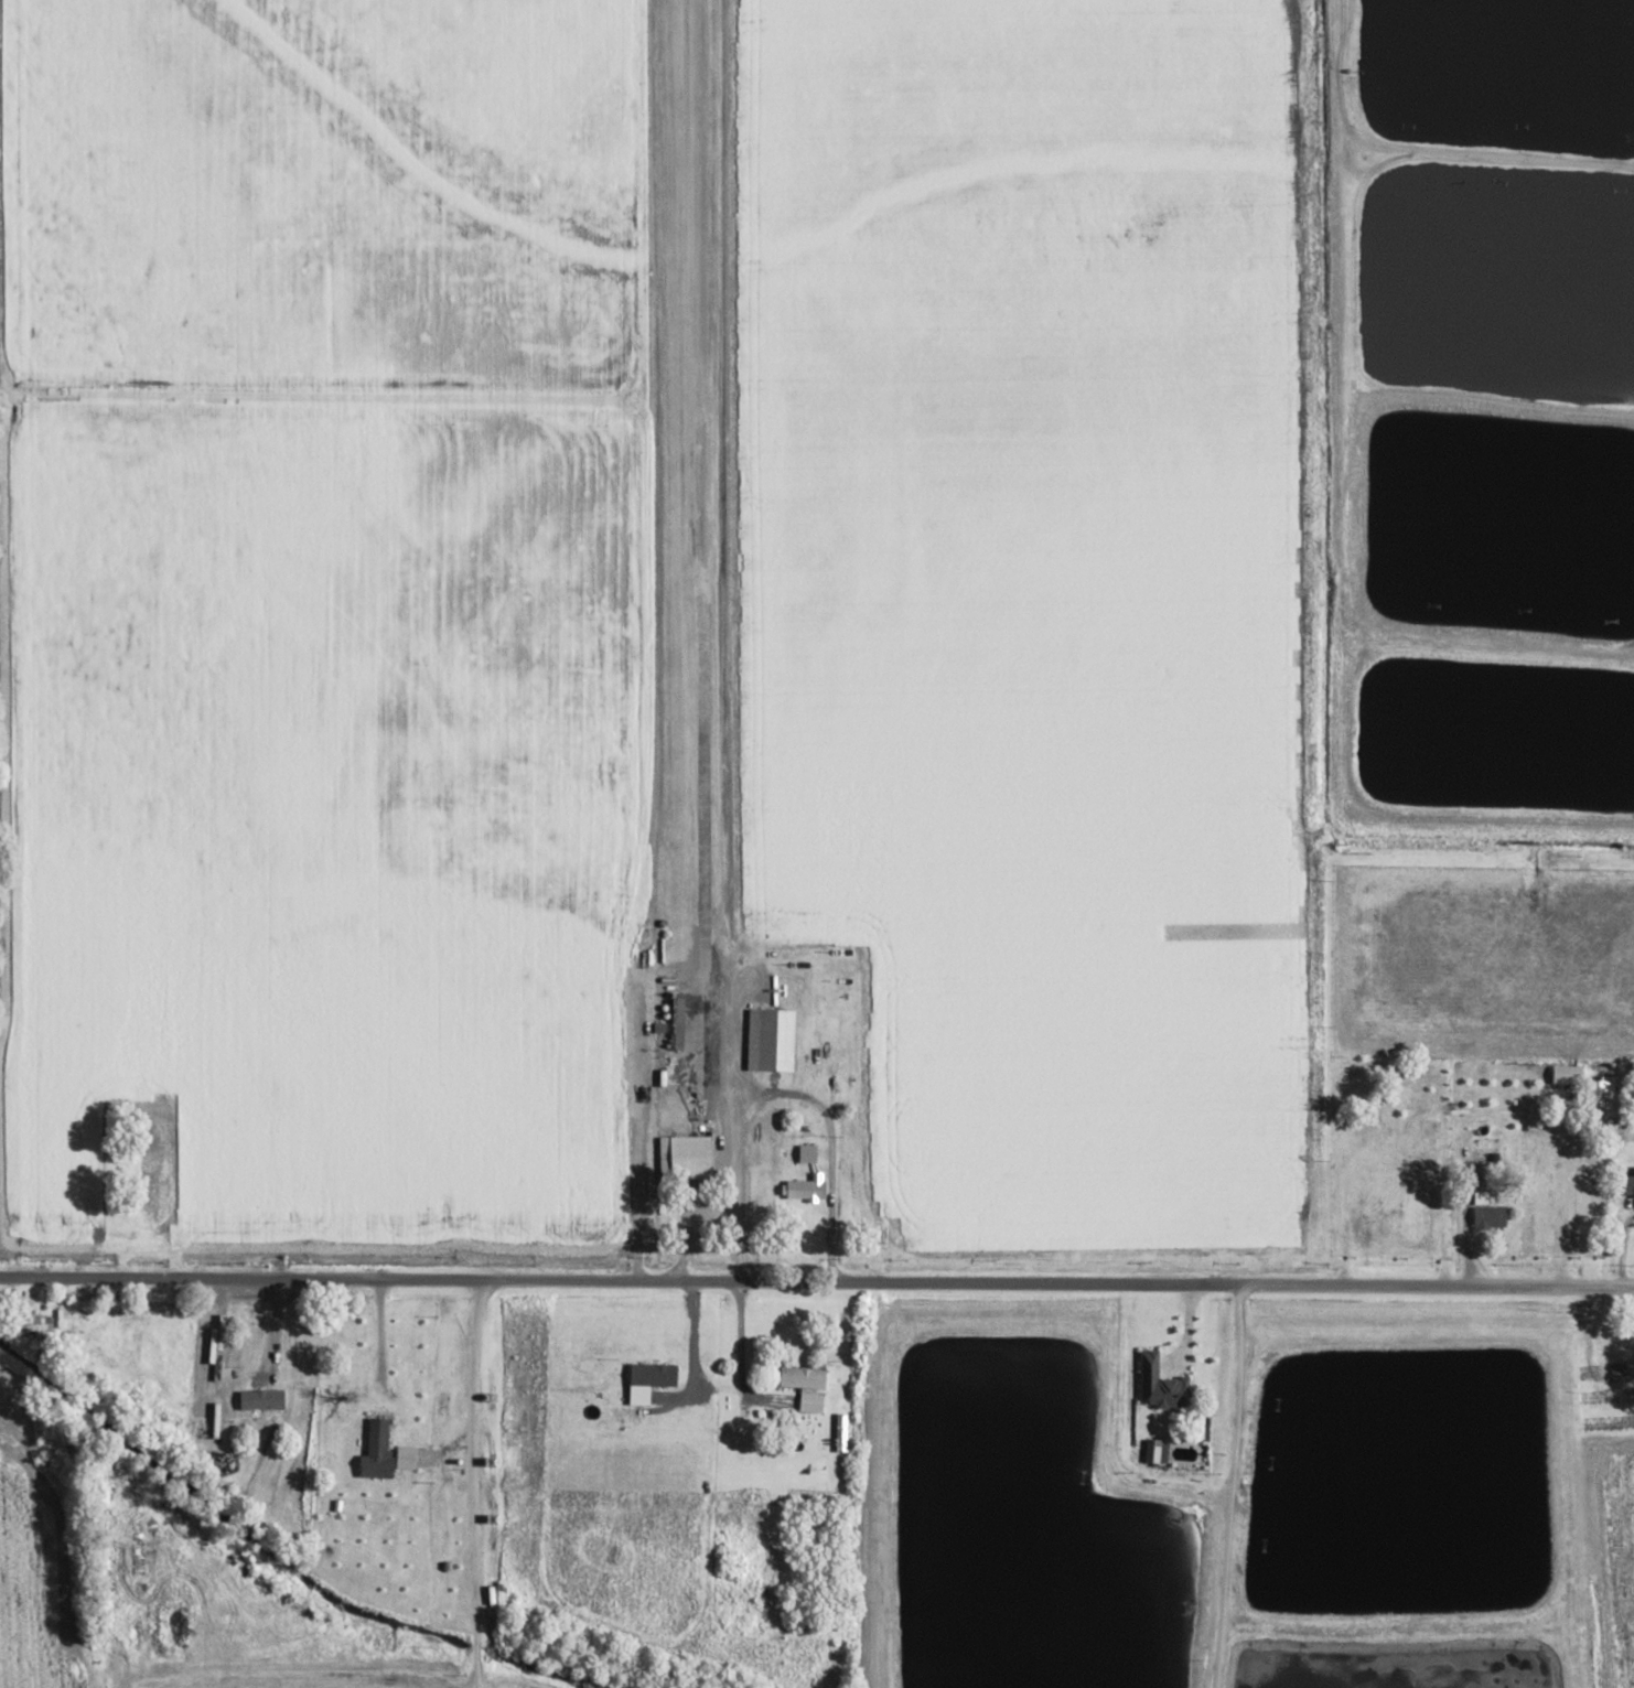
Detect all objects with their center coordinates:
road: (697, 648)
building: (771, 1039)
building: (1567, 1074)
building: (1600, 1089)
building: (807, 1152)
building: (685, 1157)
building: (1628, 1184)
building: (805, 1187)
building: (1481, 1196)
building: (1490, 1216)
road: (816, 1282)
building: (36, 1322)
building: (648, 1379)
building: (1161, 1384)
building: (806, 1385)
building: (260, 1399)
building: (842, 1432)
road: (1230, 1434)
building: (376, 1451)
building: (1157, 1451)
building: (406, 1456)
road: (473, 1484)
road: (318, 1677)

